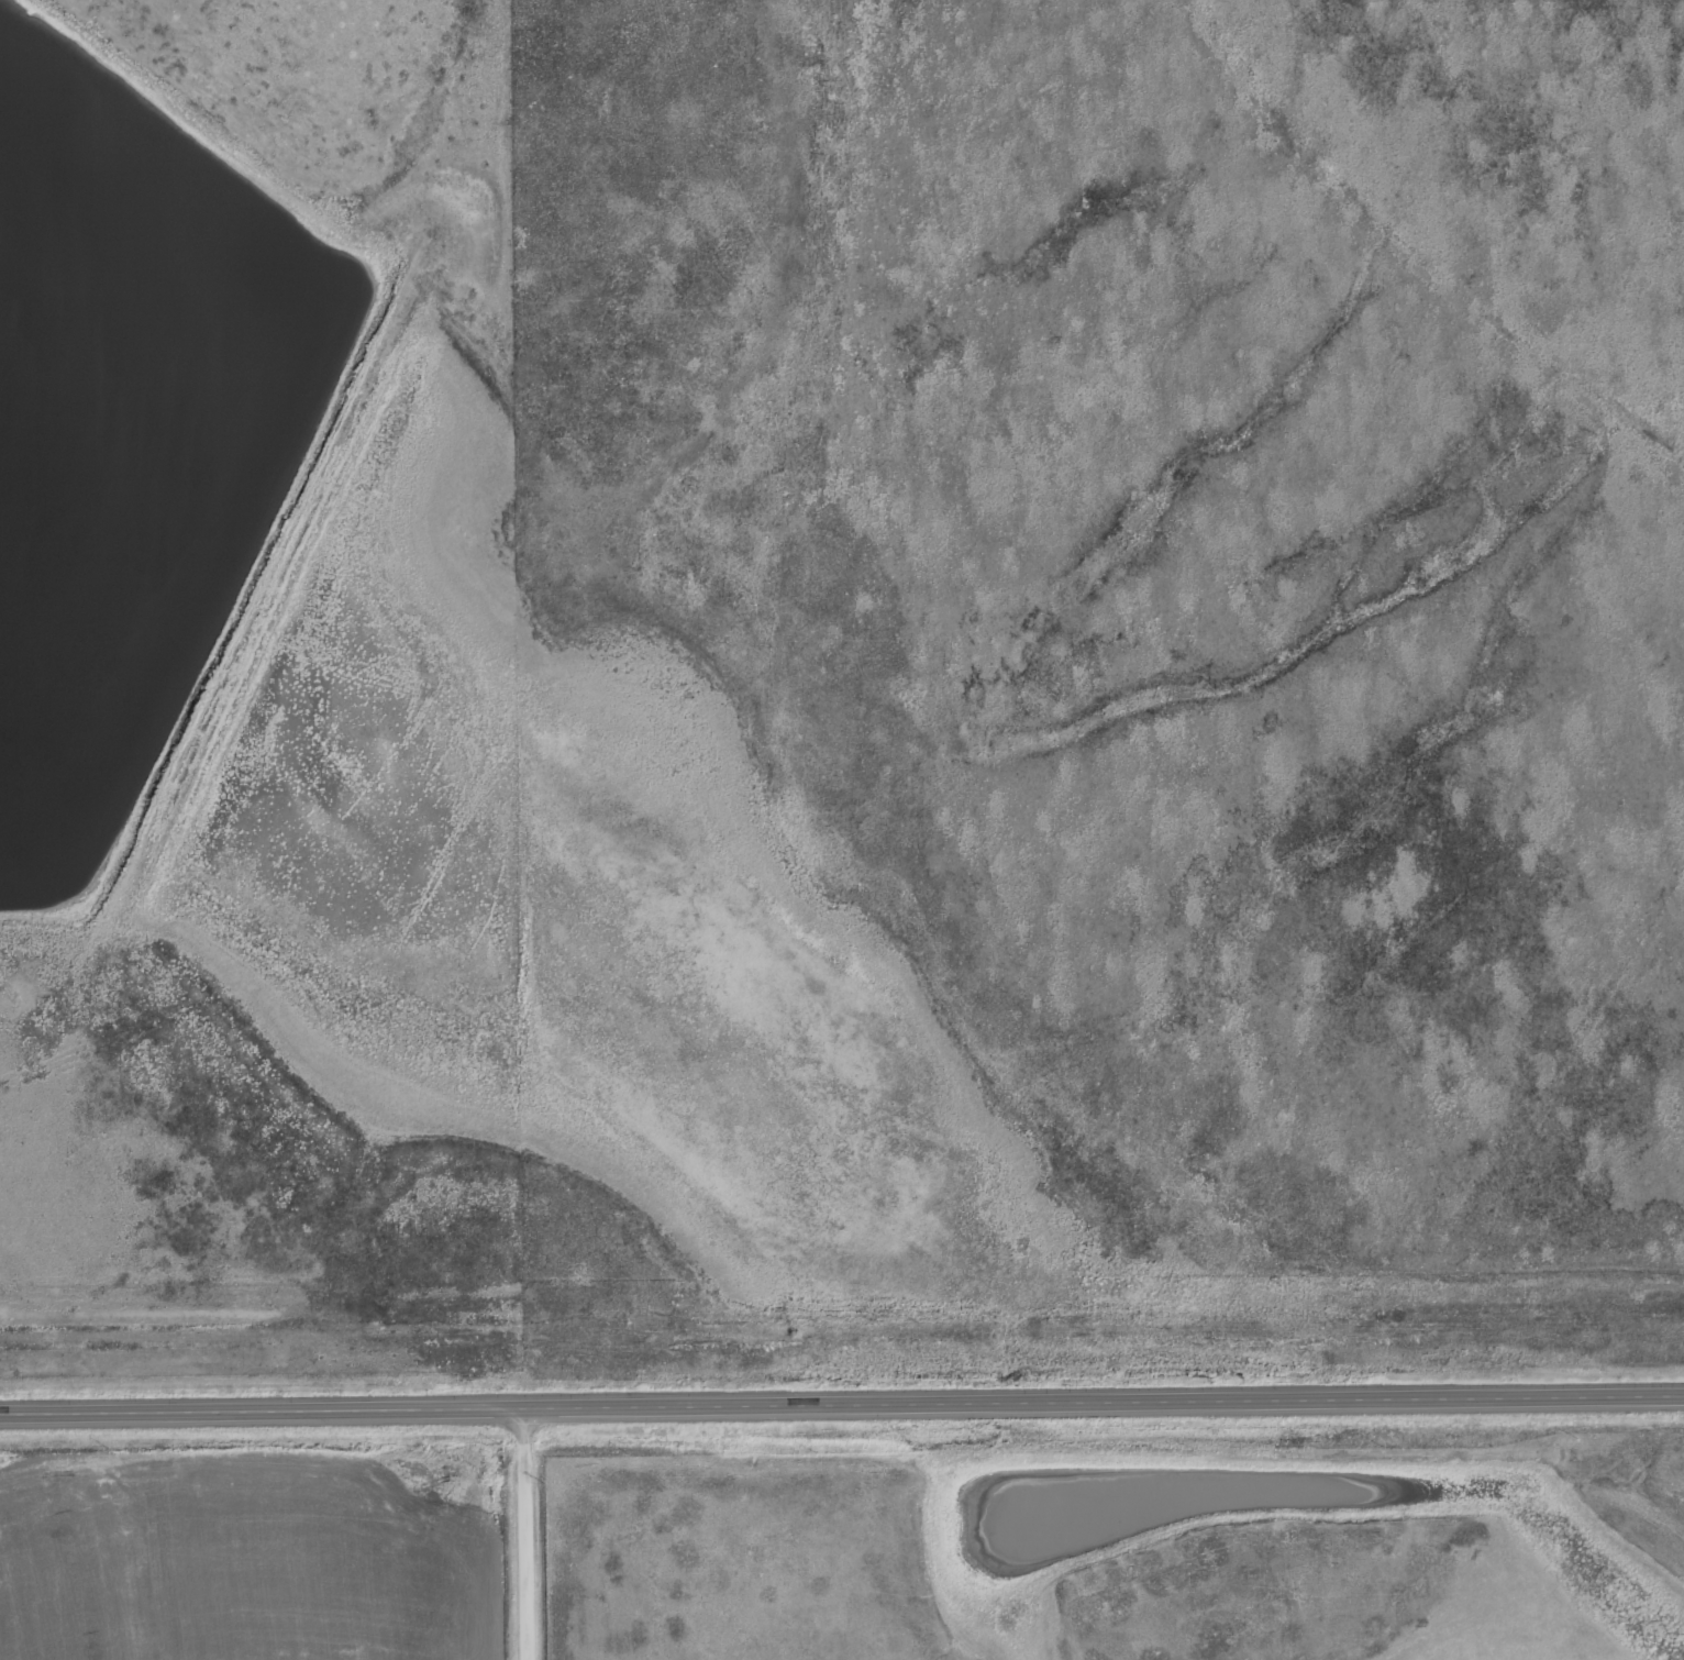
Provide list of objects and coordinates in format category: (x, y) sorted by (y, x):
road: (841, 1403)
road: (530, 1532)

